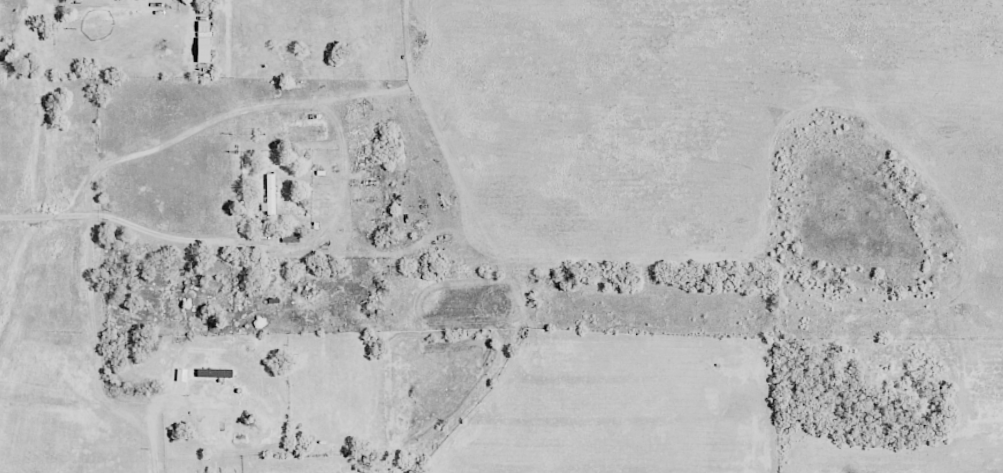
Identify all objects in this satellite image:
building: (203, 42)
road: (190, 131)
building: (269, 195)
road: (130, 223)
road: (153, 422)

